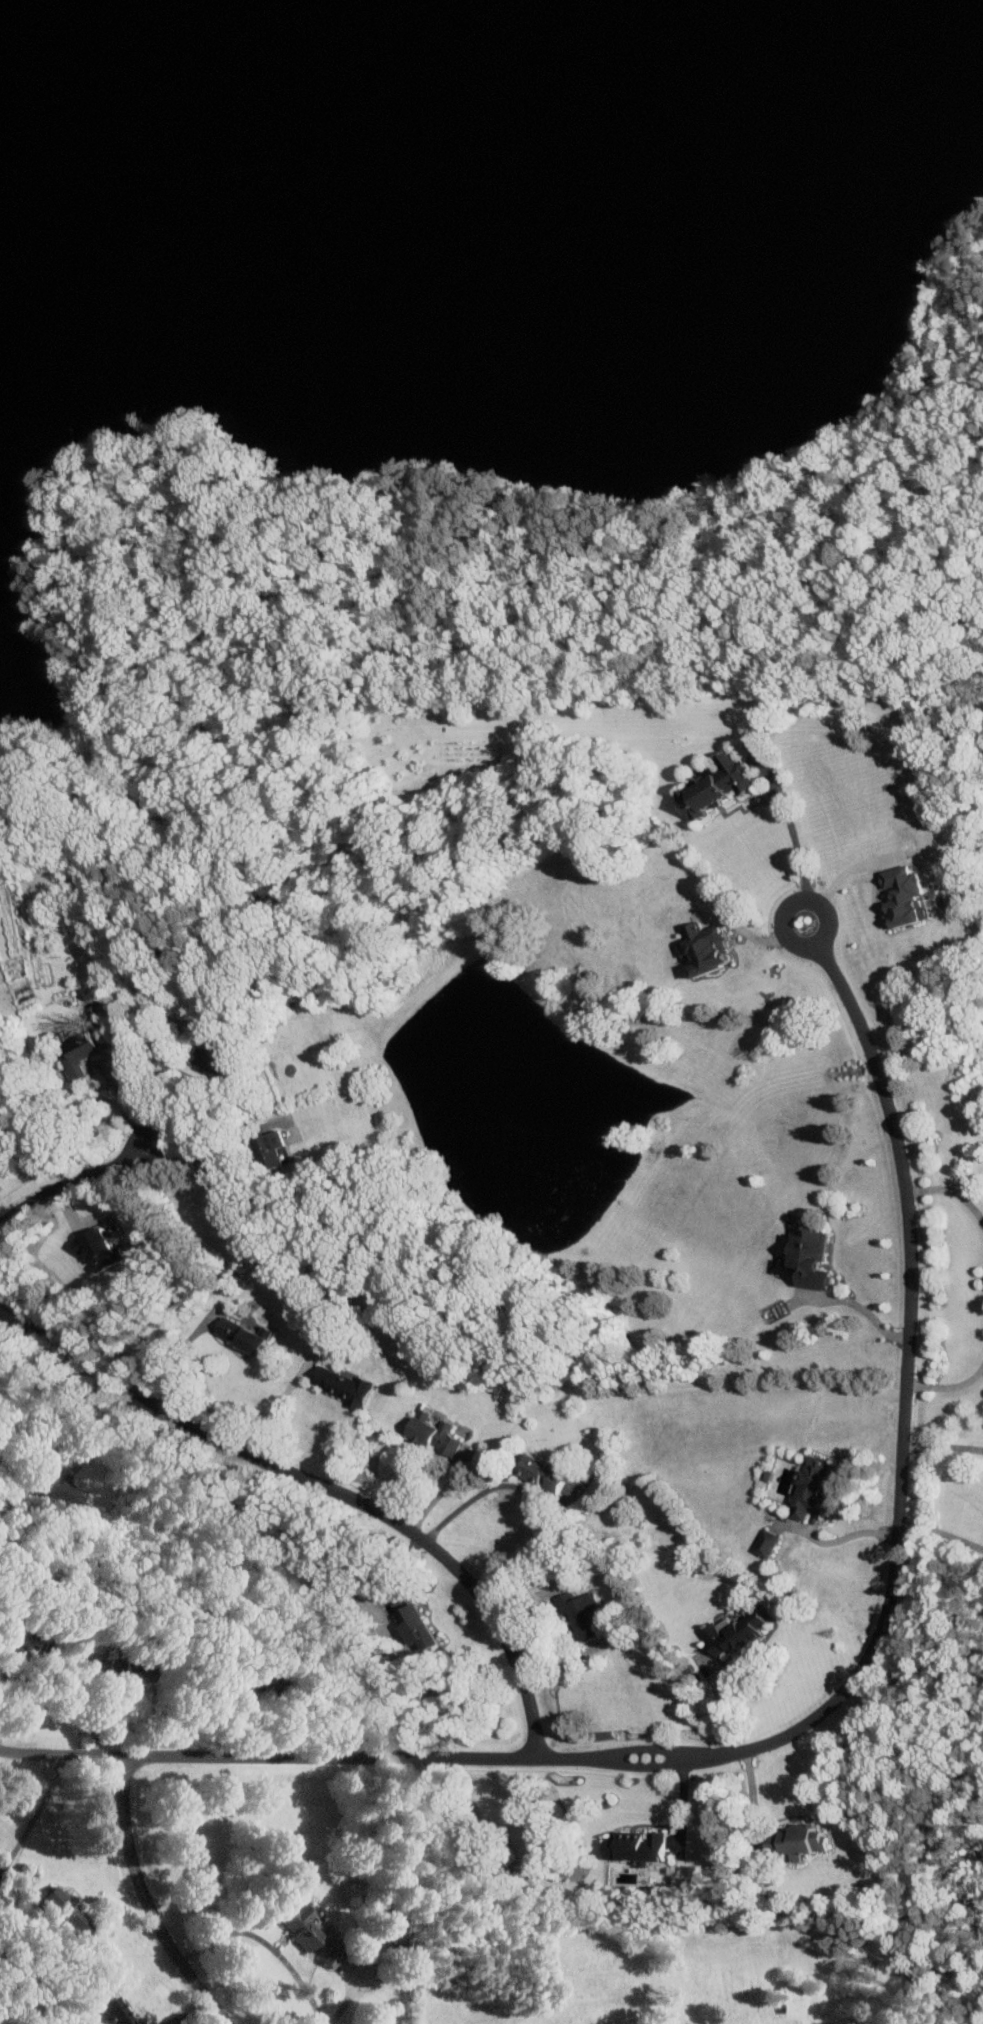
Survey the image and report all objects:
road: (370, 500)
road: (424, 591)
building: (719, 784)
road: (799, 860)
road: (834, 884)
building: (907, 897)
building: (83, 1052)
building: (222, 1061)
road: (163, 1069)
building: (271, 1146)
road: (209, 1152)
road: (71, 1183)
road: (951, 1191)
building: (97, 1249)
building: (808, 1258)
road: (855, 1304)
building: (242, 1336)
road: (22, 1348)
road: (170, 1354)
building: (343, 1385)
road: (948, 1386)
road: (273, 1407)
building: (435, 1433)
road: (942, 1446)
road: (900, 1464)
building: (545, 1472)
road: (318, 1486)
building: (813, 1487)
building: (65, 1490)
road: (439, 1494)
road: (531, 1495)
road: (940, 1531)
road: (845, 1537)
building: (767, 1543)
building: (581, 1614)
building: (416, 1629)
building: (733, 1633)
building: (110, 1666)
road: (717, 1703)
road: (9, 1704)
road: (227, 1754)
road: (497, 1757)
road: (752, 1800)
road: (681, 1806)
road: (37, 1817)
building: (806, 1841)
building: (639, 1850)
road: (149, 1899)
building: (70, 1909)
building: (313, 1934)
road: (271, 1942)
building: (114, 2006)

